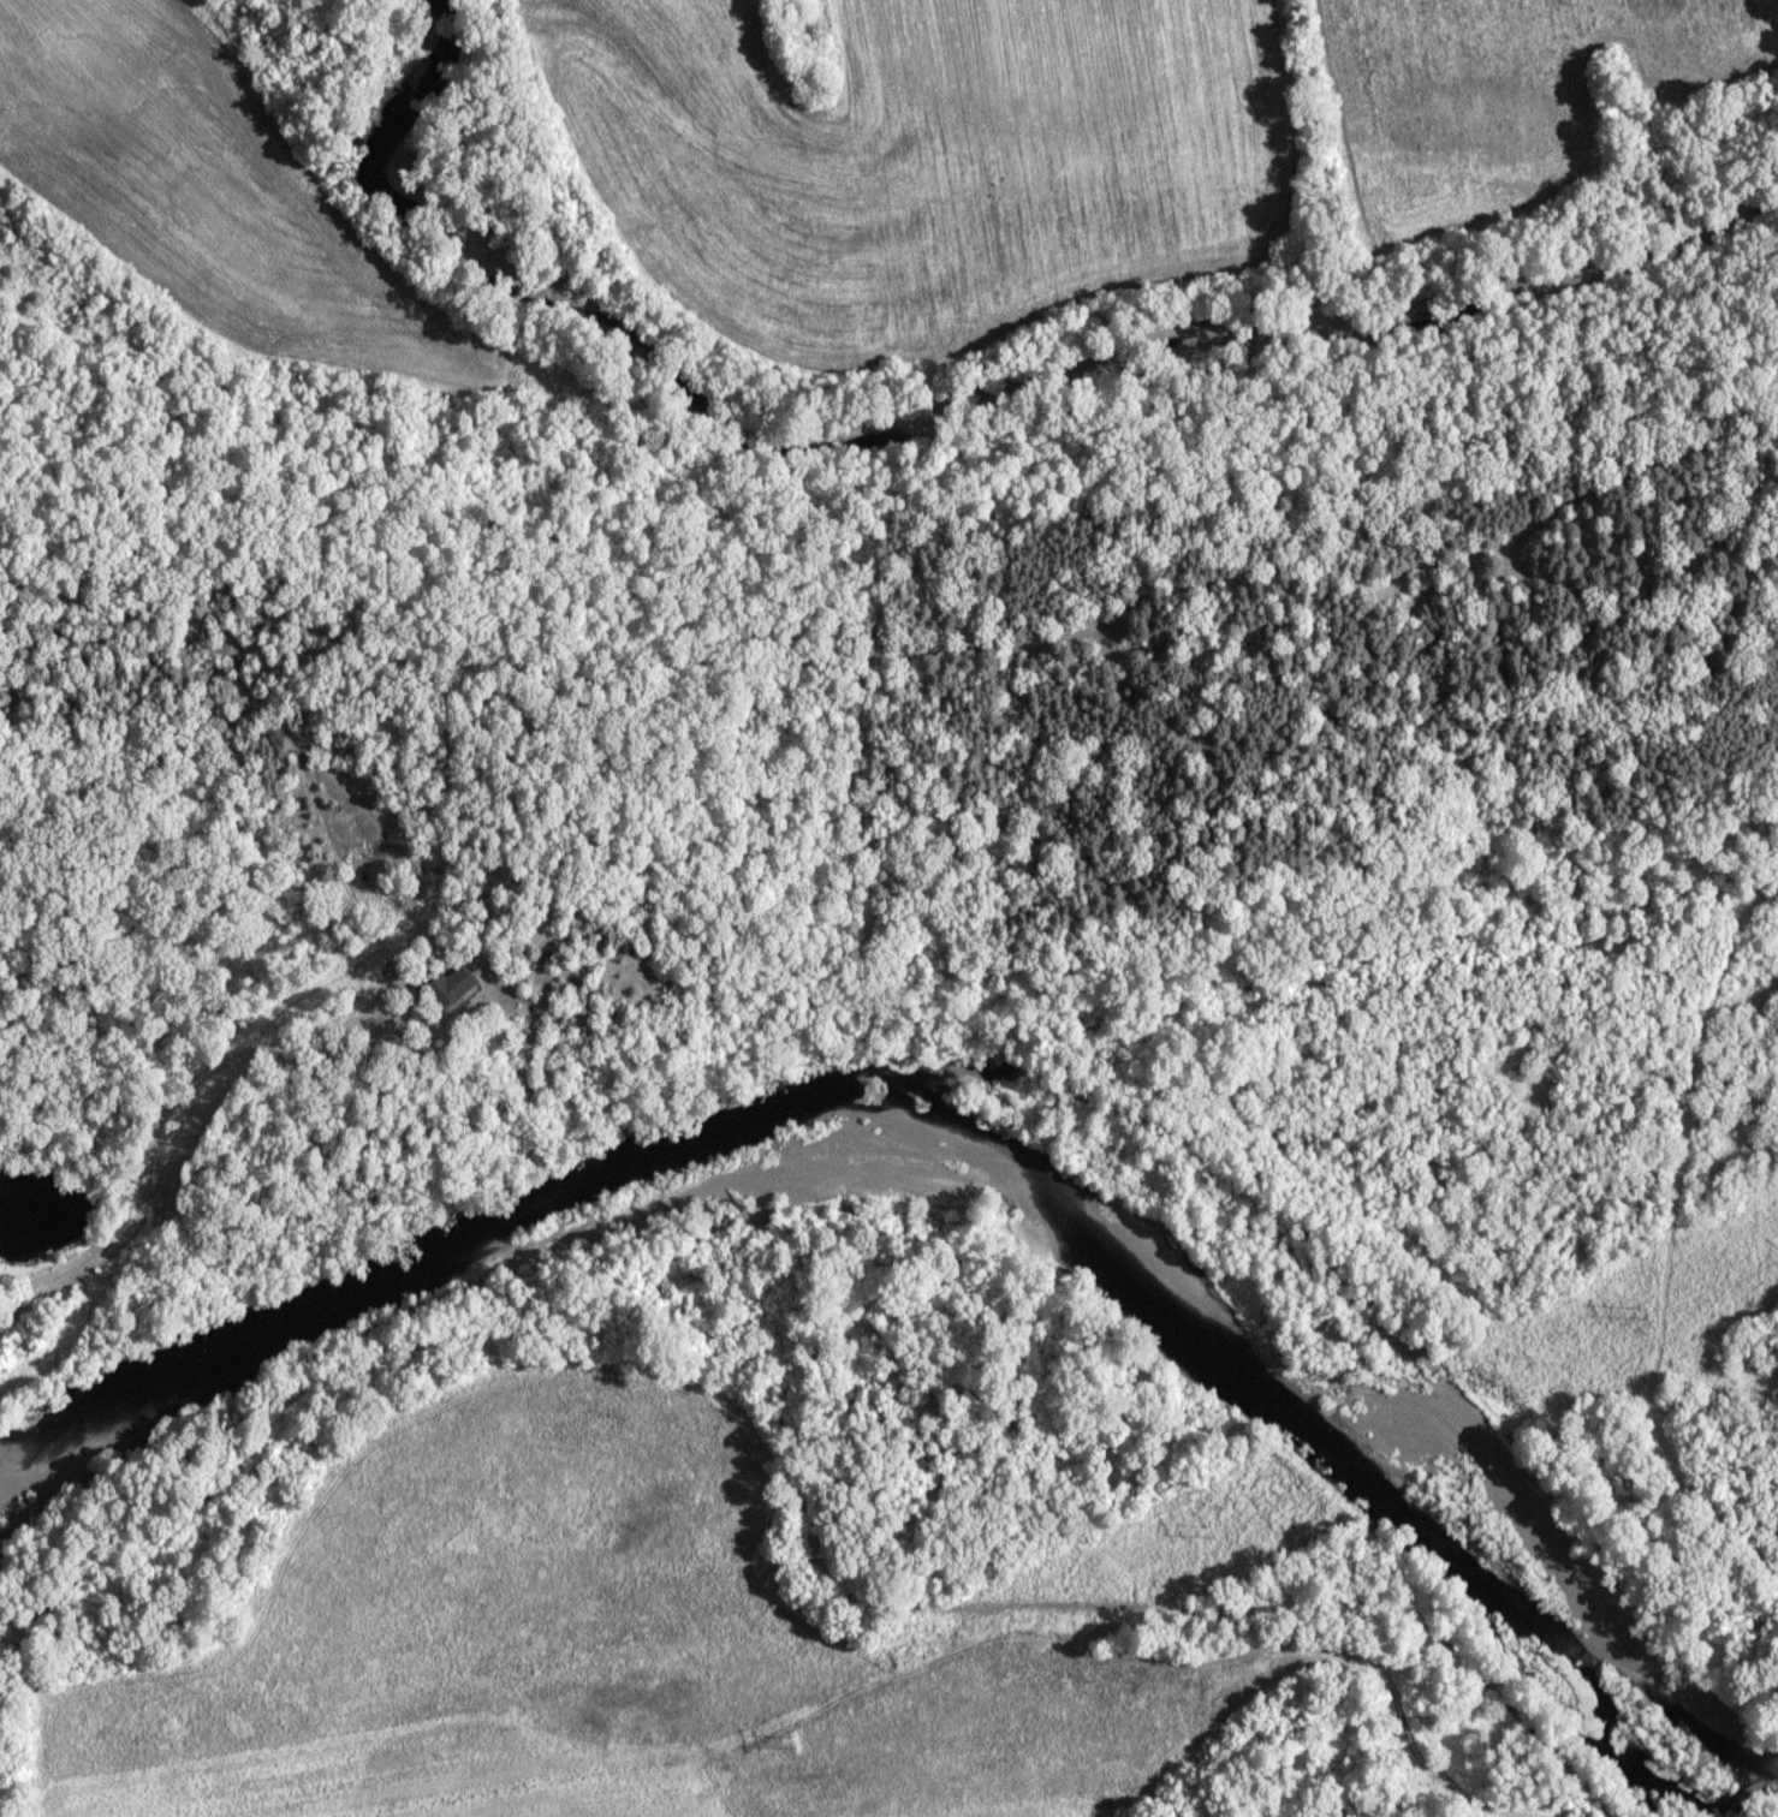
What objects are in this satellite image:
building: (453, 989)
road: (159, 1113)
river: (940, 1121)
power tower: (1642, 1312)
power tower: (1208, 1532)
power tower: (792, 1741)

